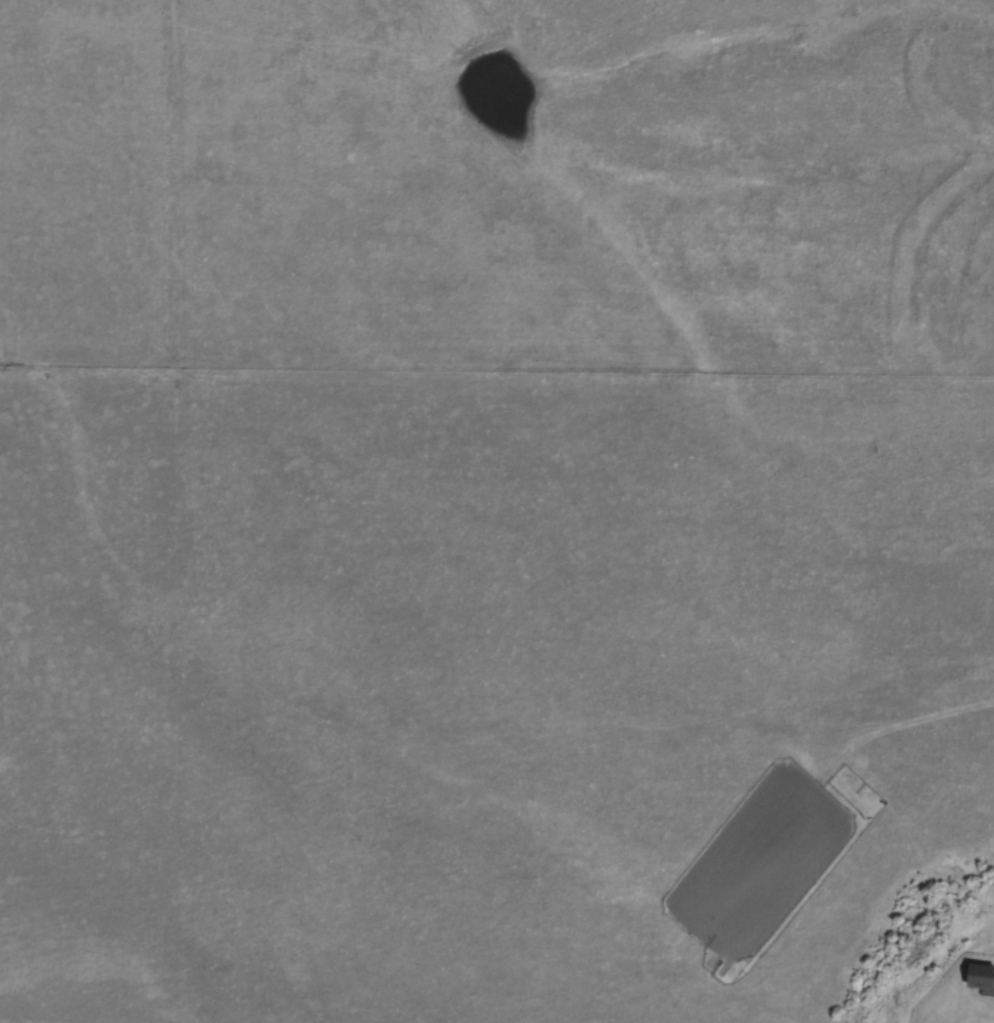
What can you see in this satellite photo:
building: (976, 976)

